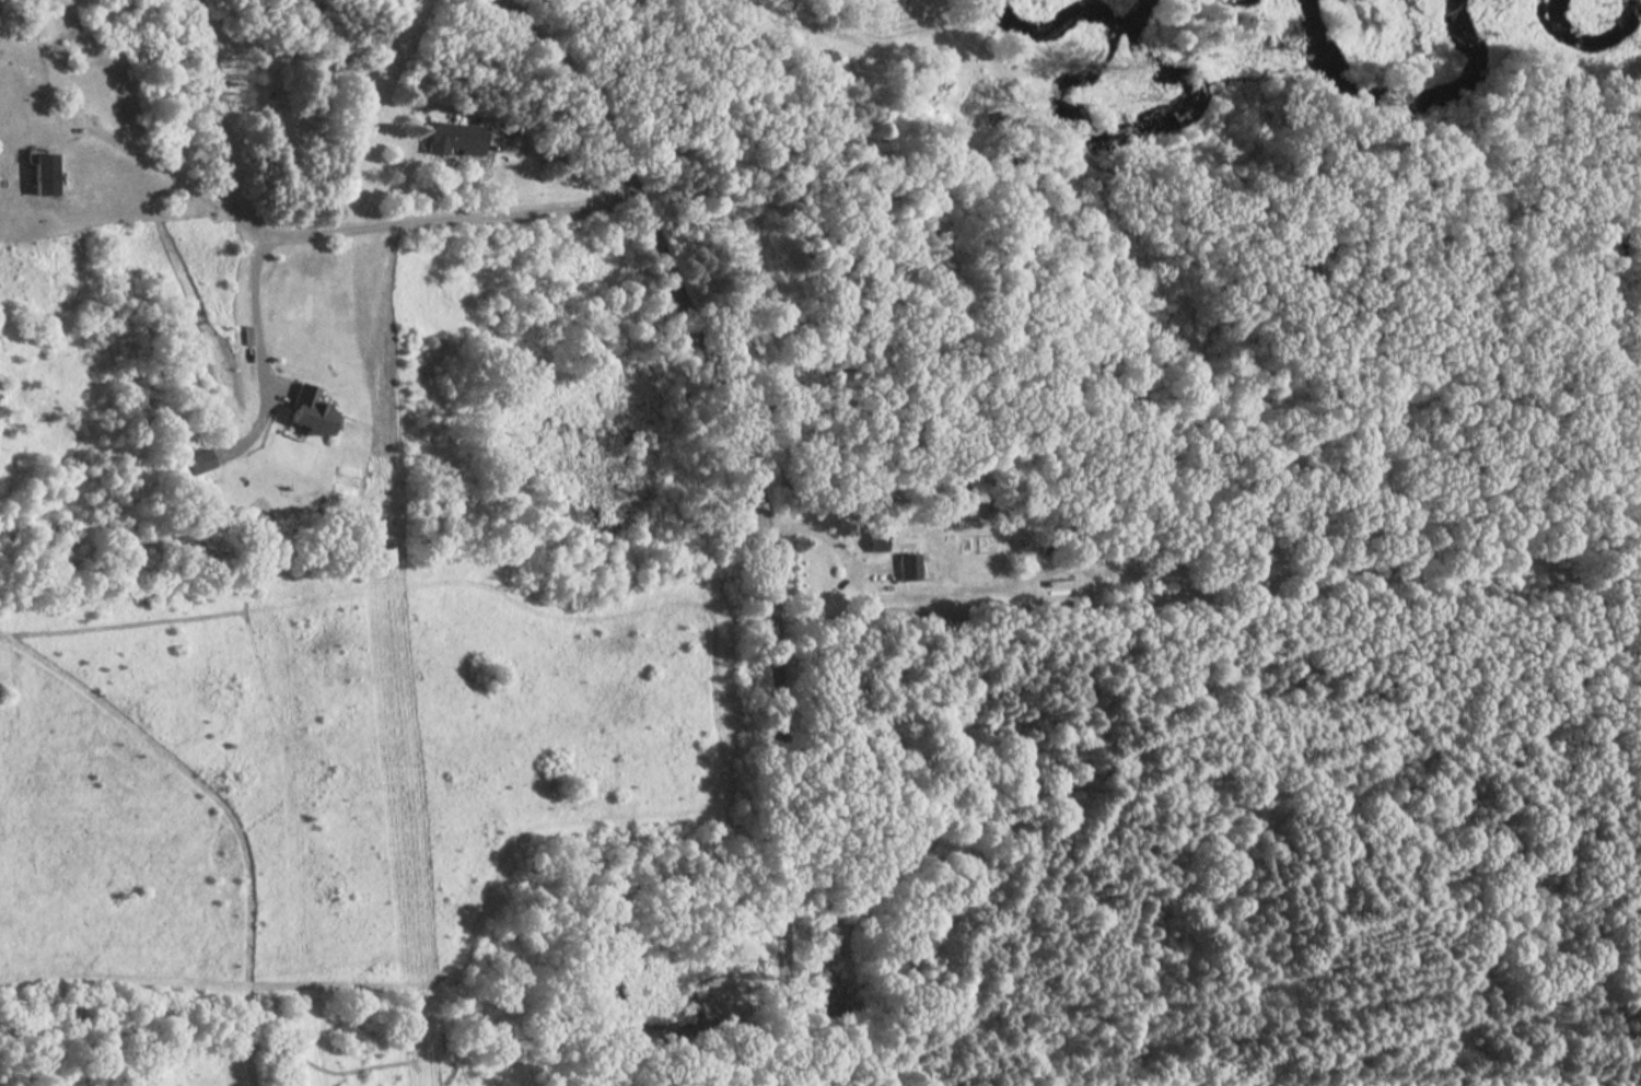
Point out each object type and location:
road: (620, 3)
building: (450, 139)
road: (556, 157)
road: (163, 174)
building: (42, 175)
road: (327, 235)
road: (255, 308)
building: (305, 413)
building: (198, 462)
road: (758, 507)
building: (876, 533)
road: (829, 542)
building: (907, 568)

